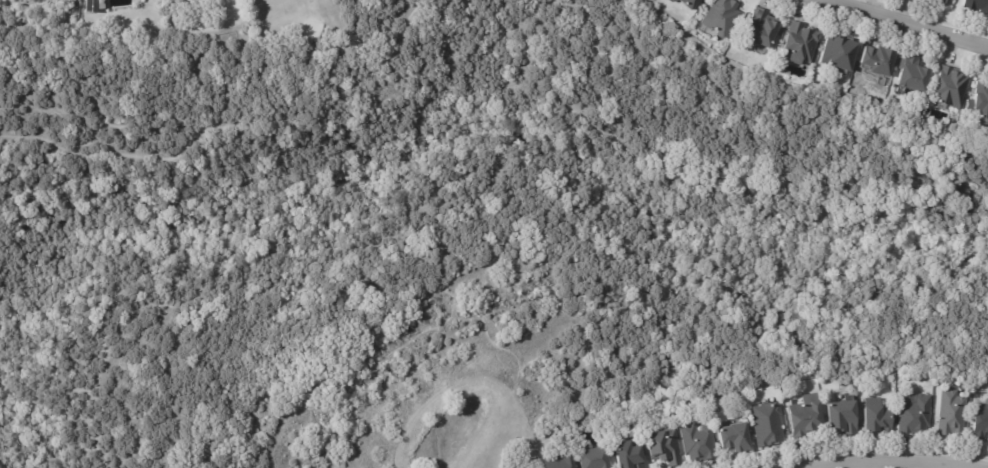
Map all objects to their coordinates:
building: (671, 0)
building: (947, 1)
building: (688, 3)
building: (94, 5)
building: (977, 5)
building: (721, 15)
road: (907, 23)
building: (761, 28)
building: (800, 40)
building: (839, 50)
building: (879, 58)
building: (913, 72)
building: (951, 86)
building: (980, 98)
building: (952, 412)
building: (915, 414)
building: (806, 415)
building: (843, 416)
building: (877, 416)
building: (981, 421)
building: (768, 424)
building: (734, 437)
building: (697, 442)
building: (664, 446)
building: (629, 455)
building: (594, 458)
building: (559, 461)
road: (889, 461)

